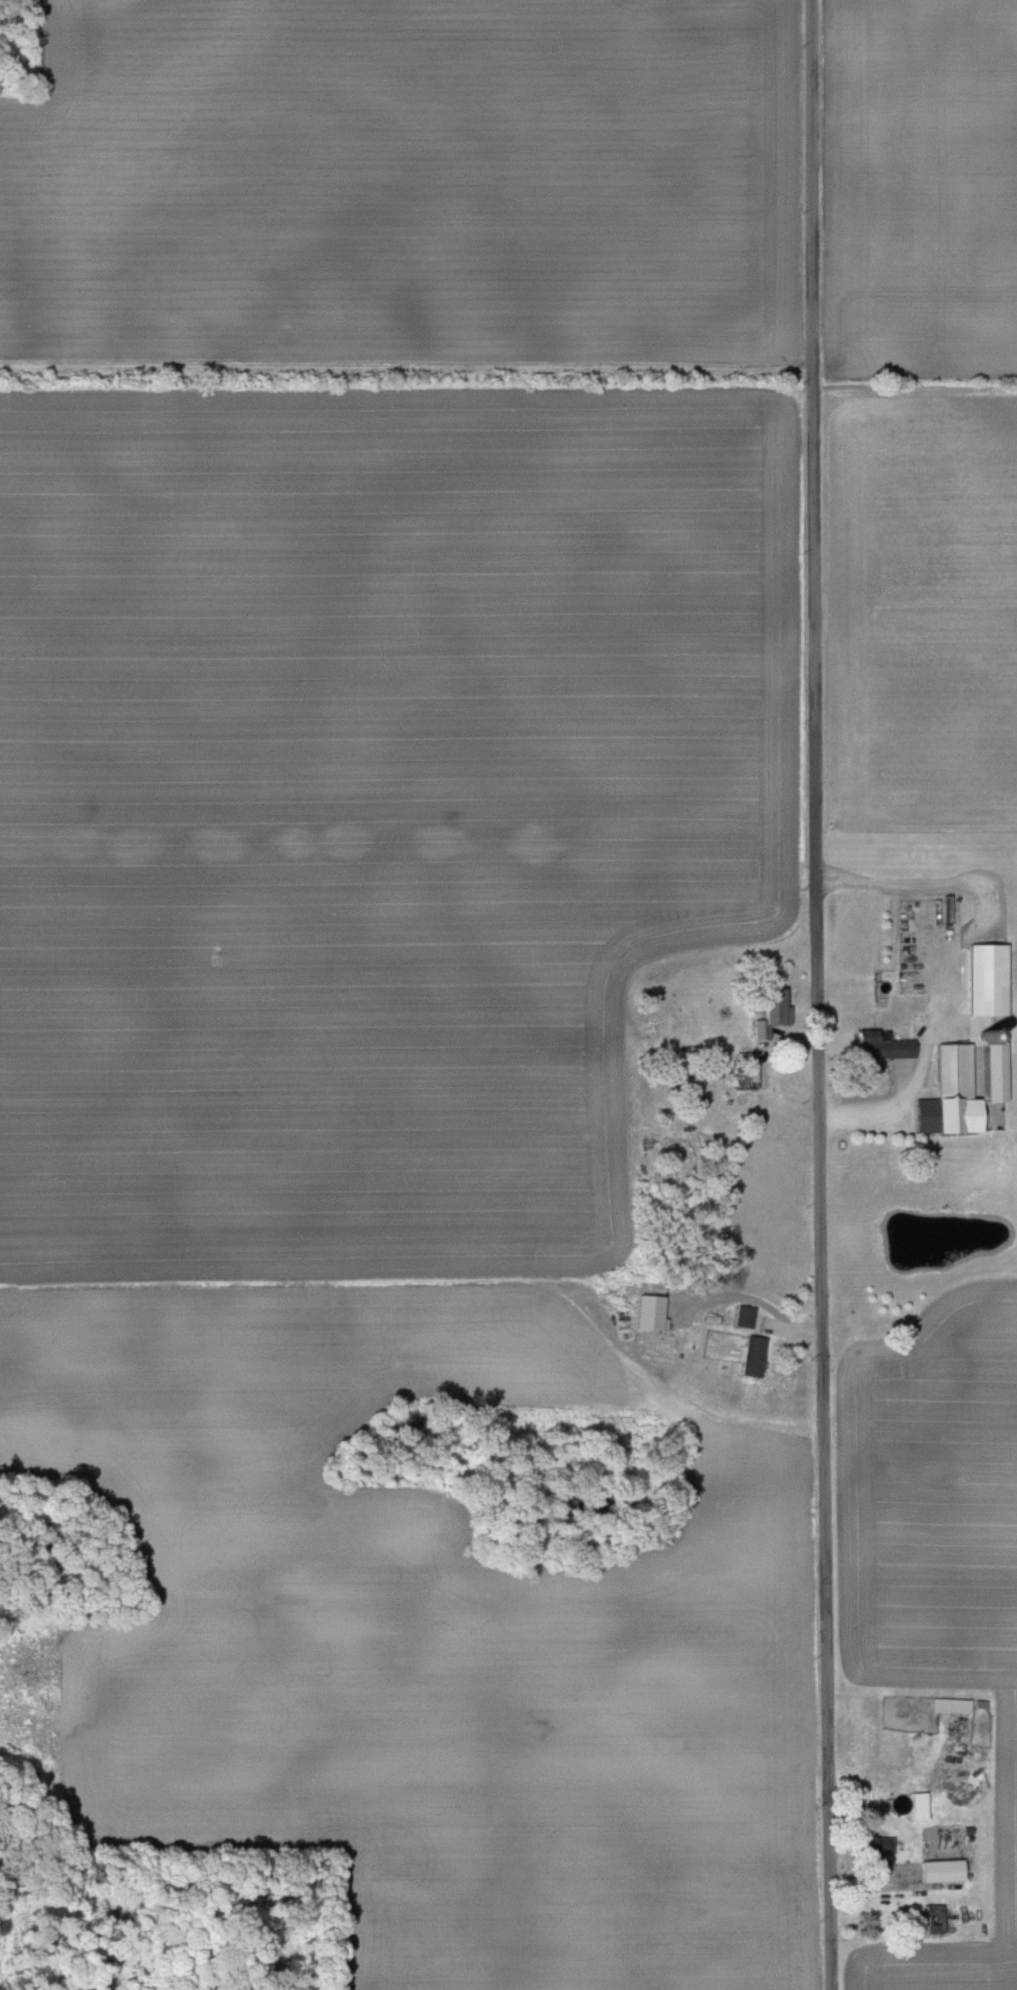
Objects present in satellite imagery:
road: (948, 952)
building: (987, 979)
road: (820, 995)
building: (773, 1015)
building: (881, 1045)
building: (747, 1071)
building: (962, 1086)
building: (743, 1317)
building: (751, 1356)
building: (951, 1706)
building: (919, 1807)
building: (876, 1847)
building: (941, 1871)
building: (933, 1918)

